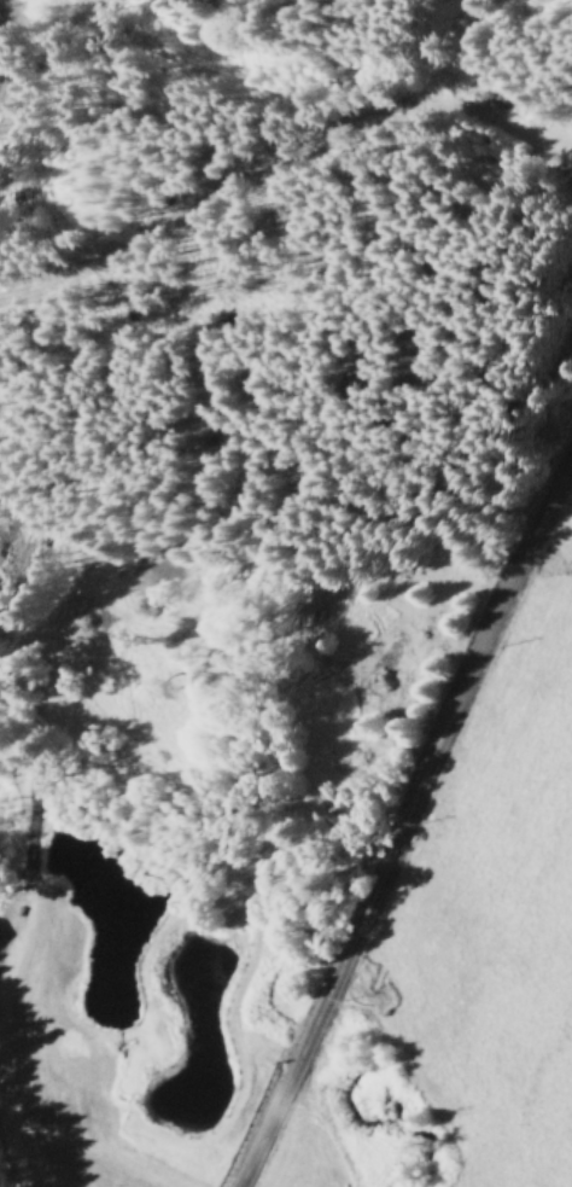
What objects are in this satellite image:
road: (503, 76)
road: (401, 814)

